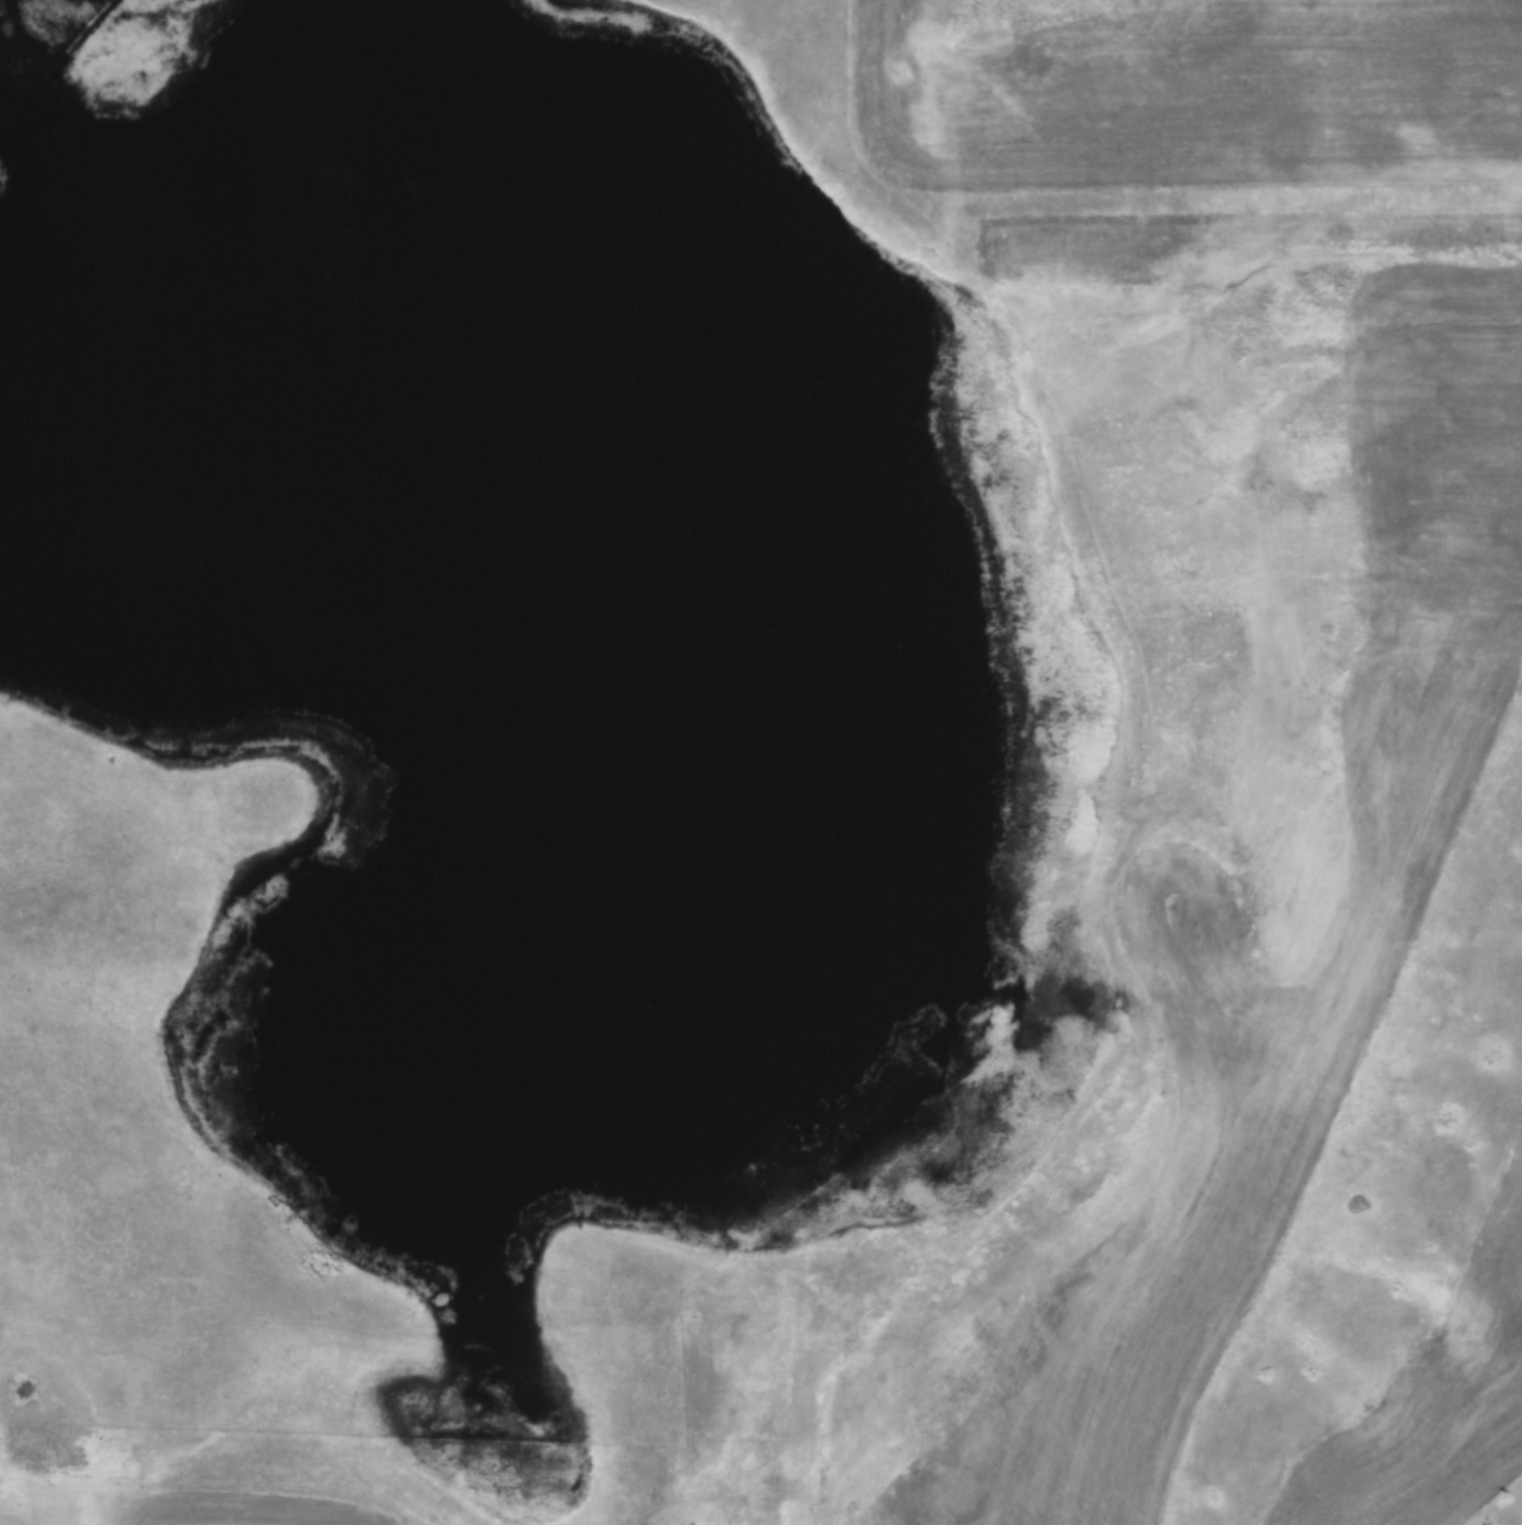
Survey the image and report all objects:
road: (708, 1303)
road: (13, 1520)

